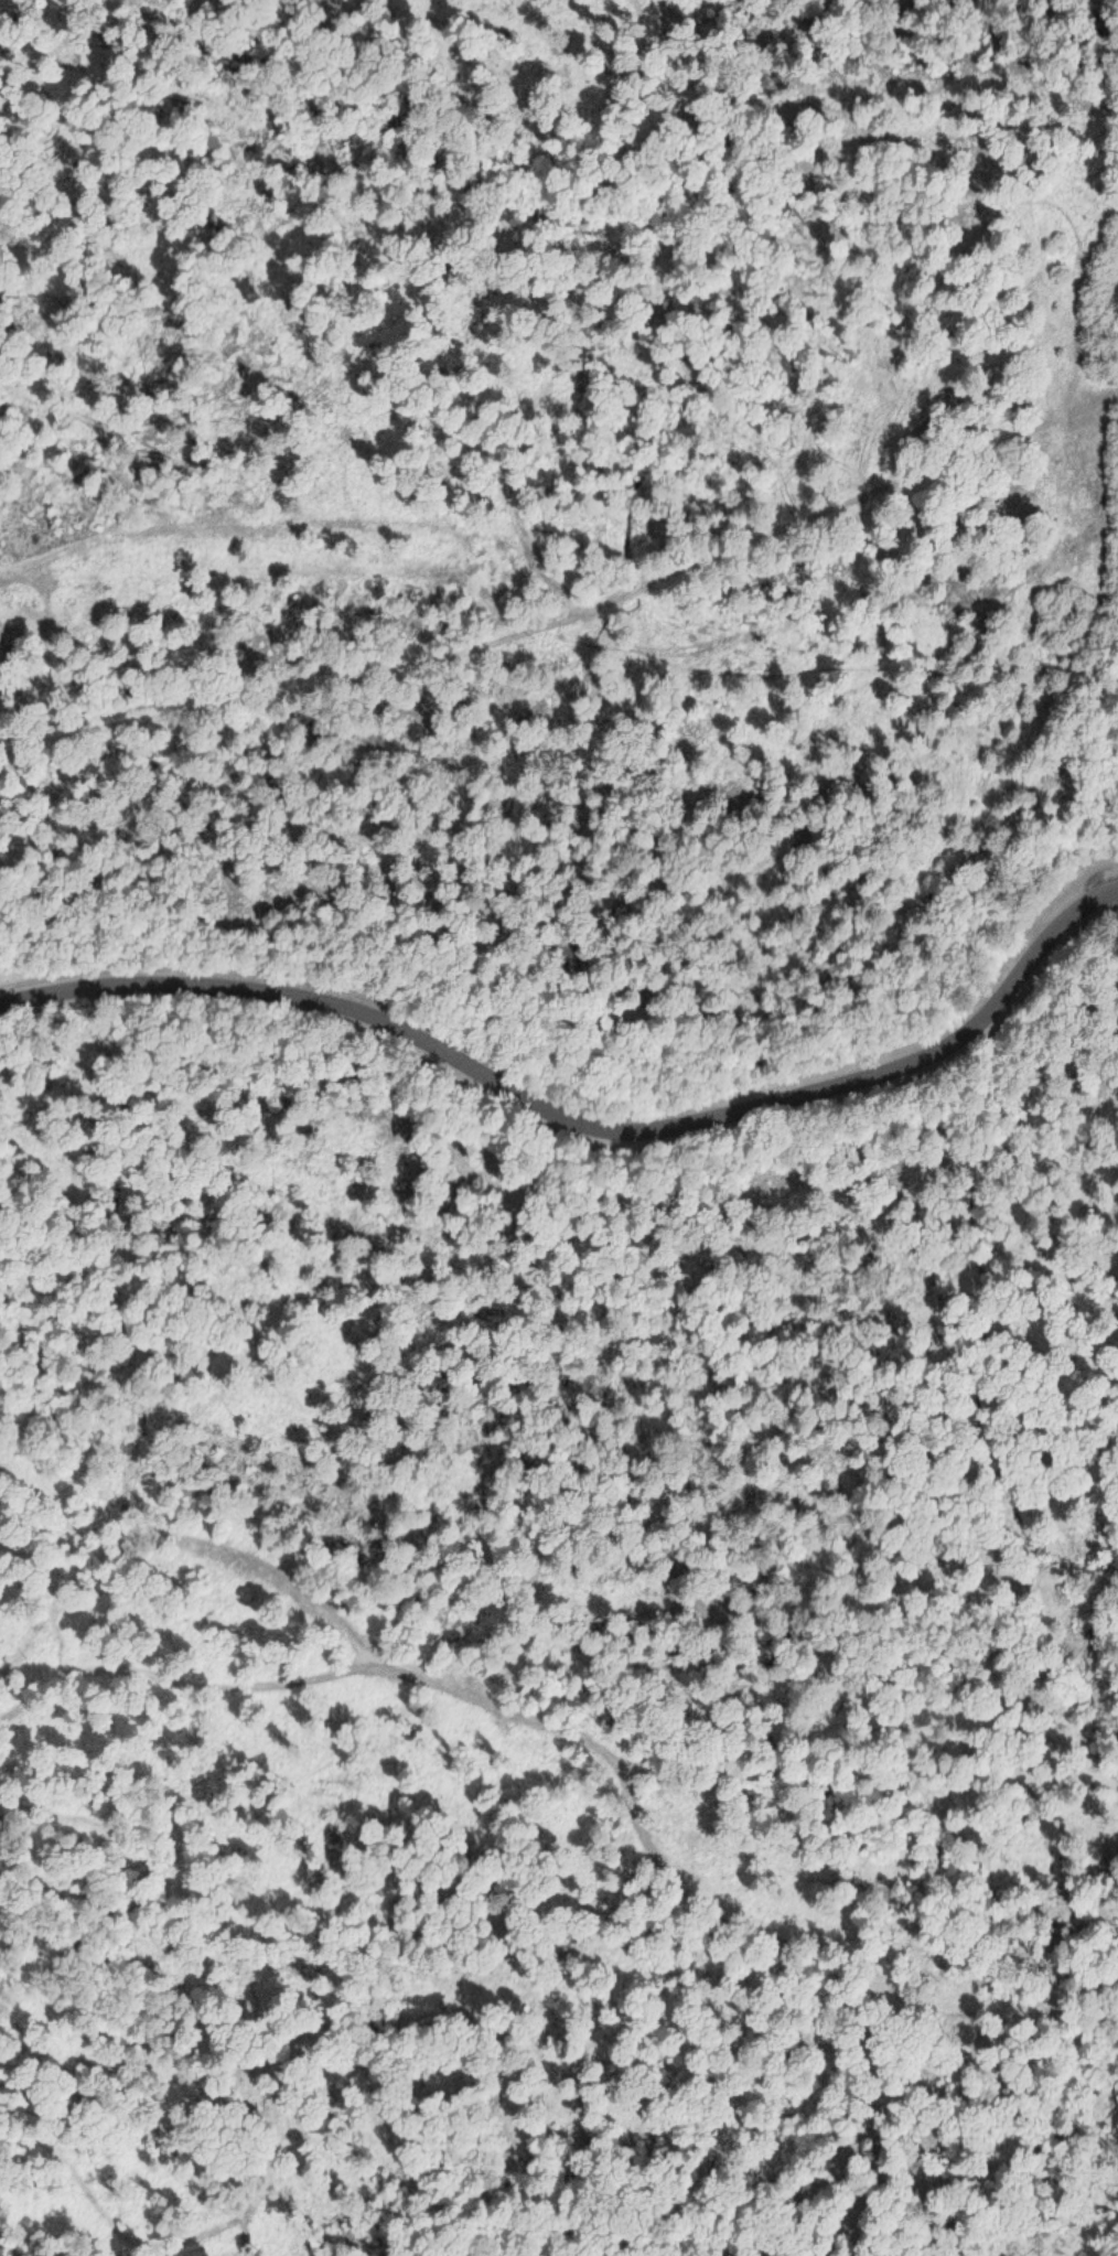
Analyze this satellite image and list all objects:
road: (569, 598)
road: (583, 1121)

